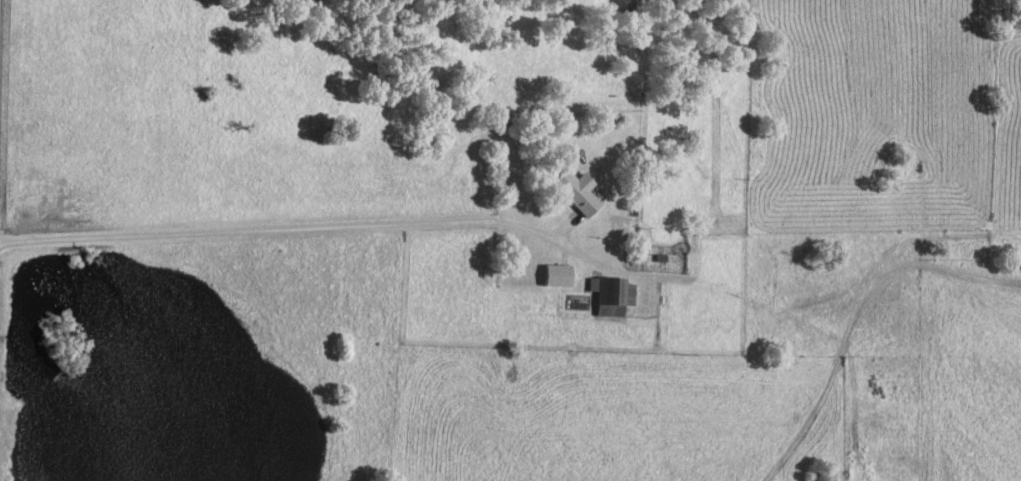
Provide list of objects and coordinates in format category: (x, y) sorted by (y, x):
building: (577, 190)
road: (282, 232)
building: (558, 274)
building: (612, 294)

